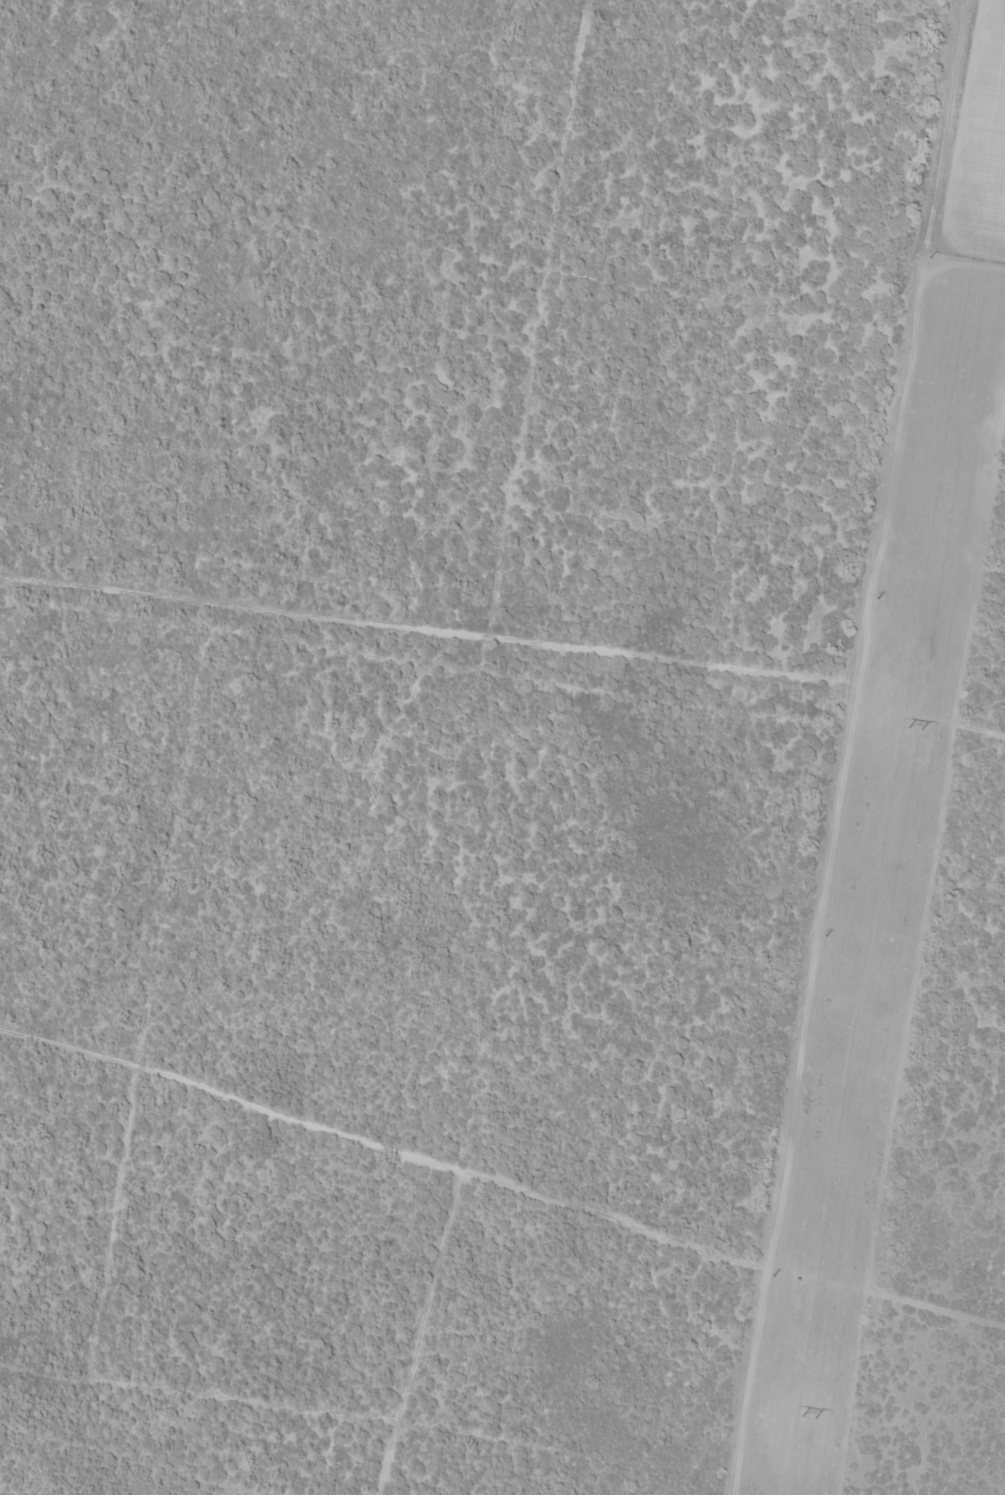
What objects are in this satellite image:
power tower: (913, 728)
road: (478, 1152)
power tower: (806, 1416)

